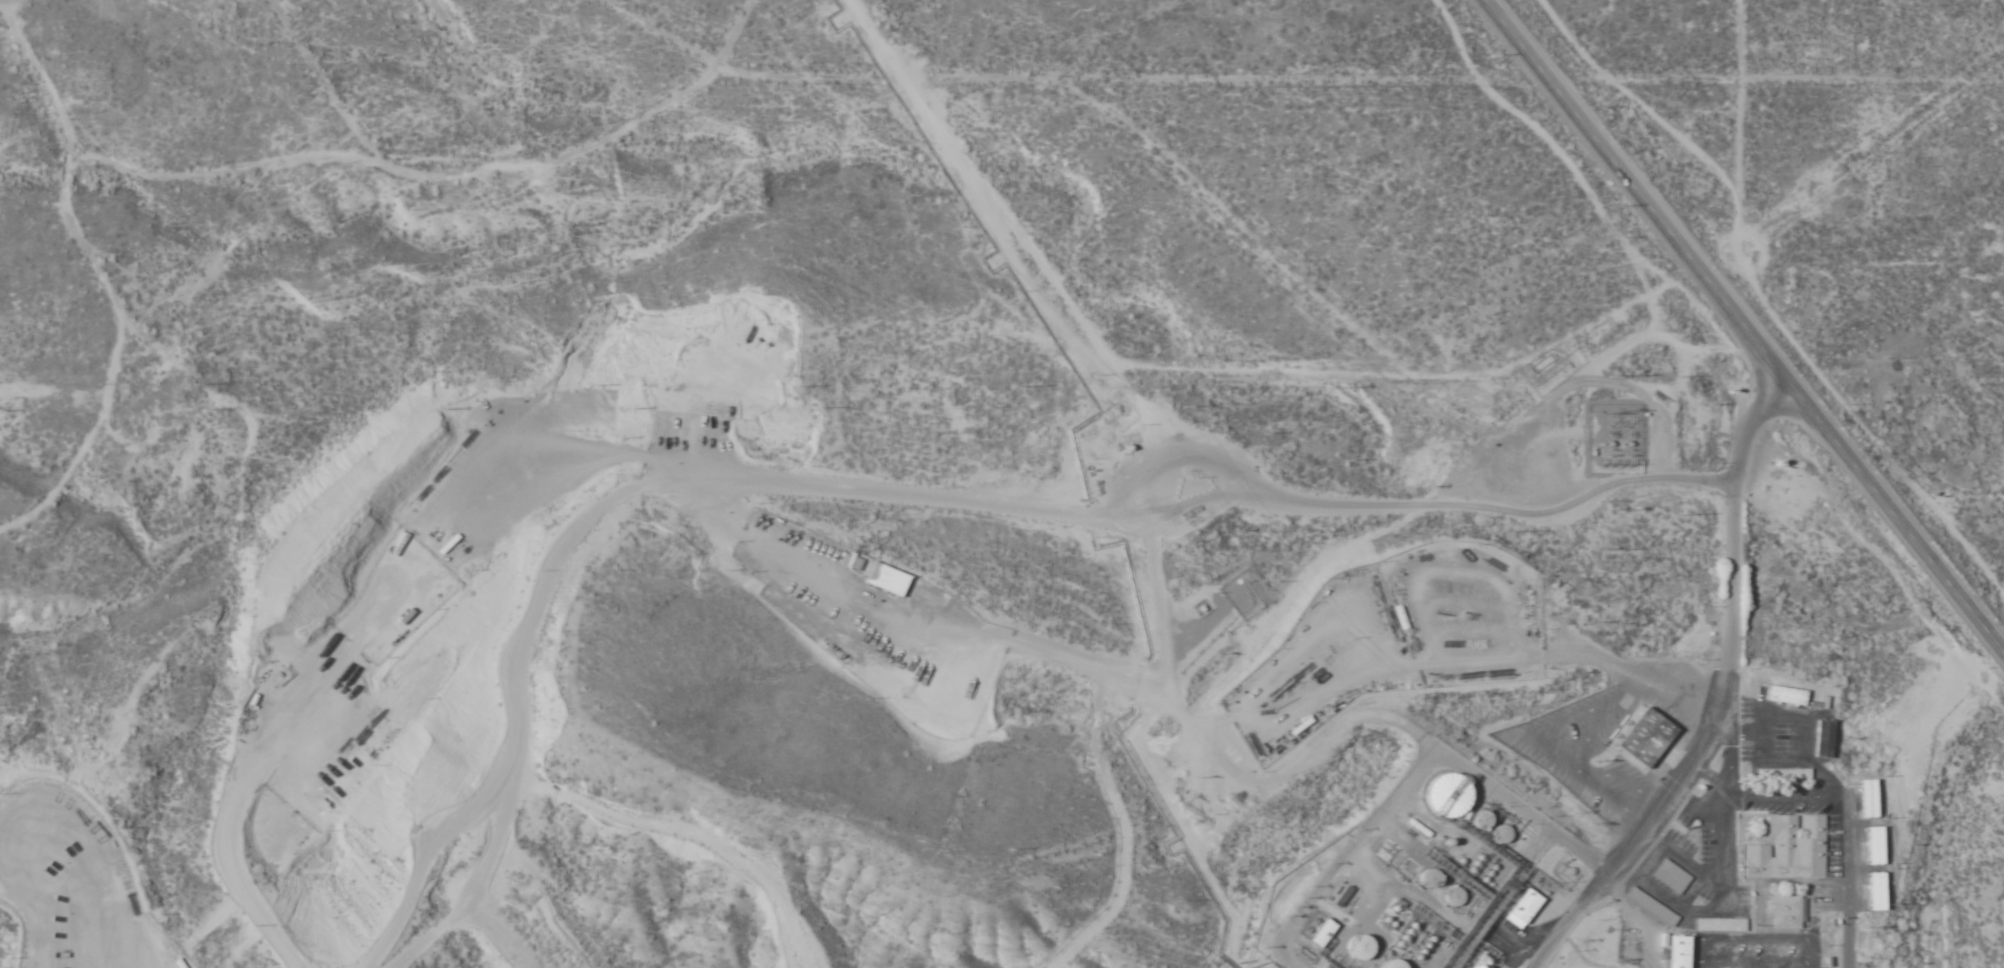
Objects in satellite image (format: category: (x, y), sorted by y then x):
road: (1746, 323)
building: (890, 579)
building: (1785, 695)
building: (1276, 736)
building: (1642, 738)
building: (1447, 800)
building: (1788, 849)
building: (1671, 876)
building: (1653, 907)
building: (1523, 908)
building: (1785, 910)
building: (1323, 933)
building: (1359, 949)
building: (1678, 952)

